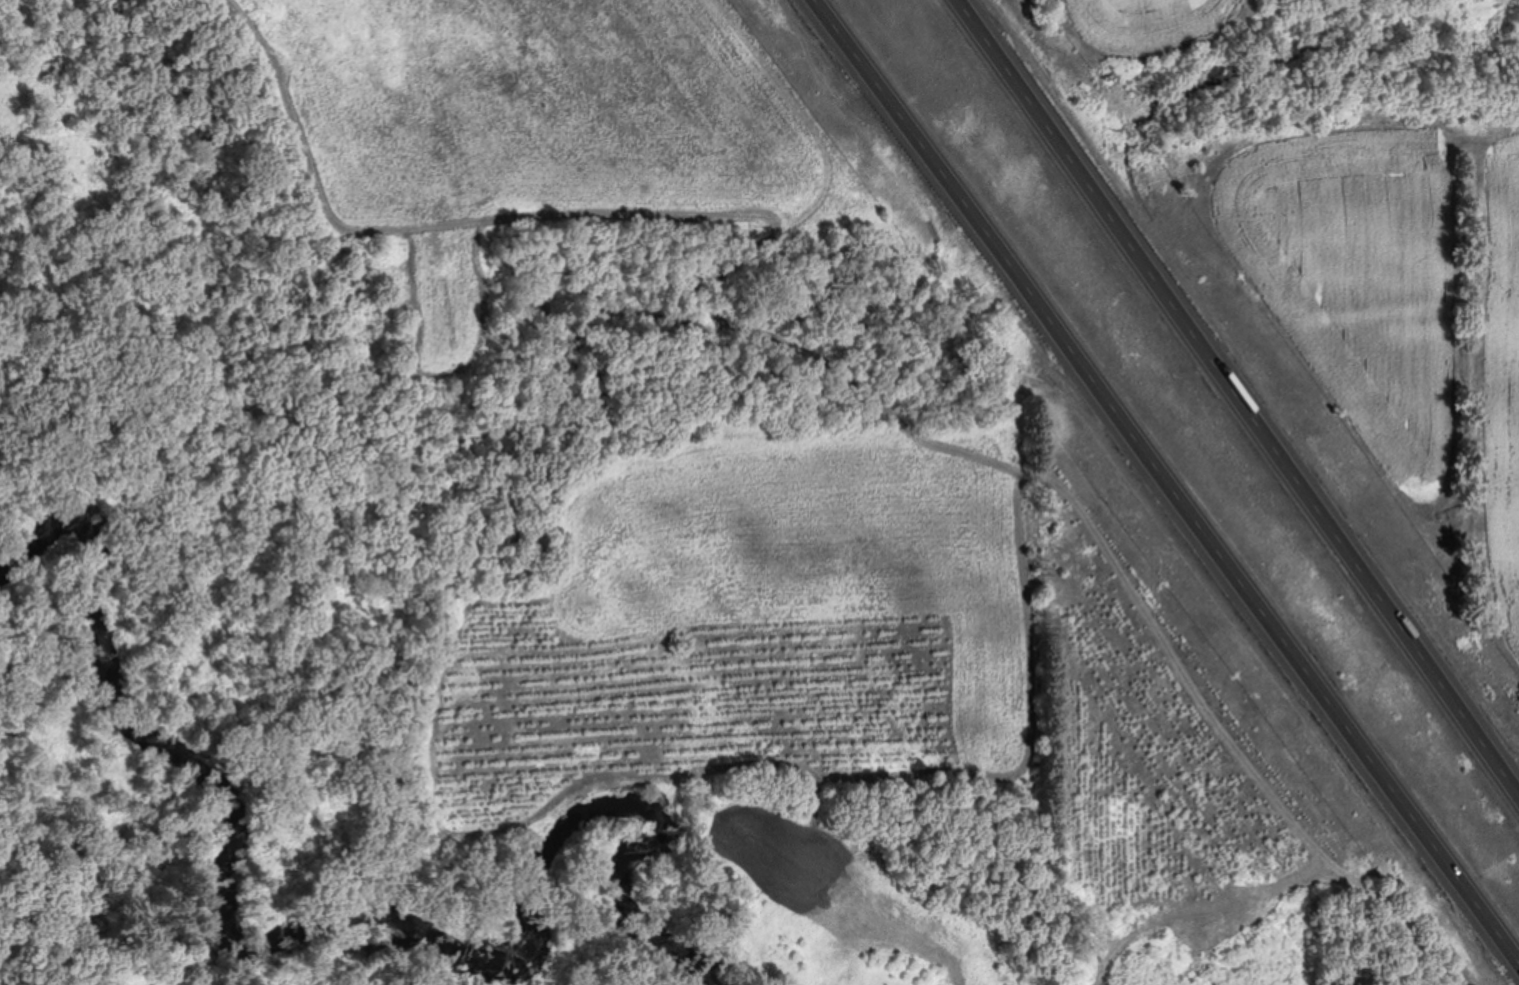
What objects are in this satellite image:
road: (1237, 397)
road: (1174, 472)

